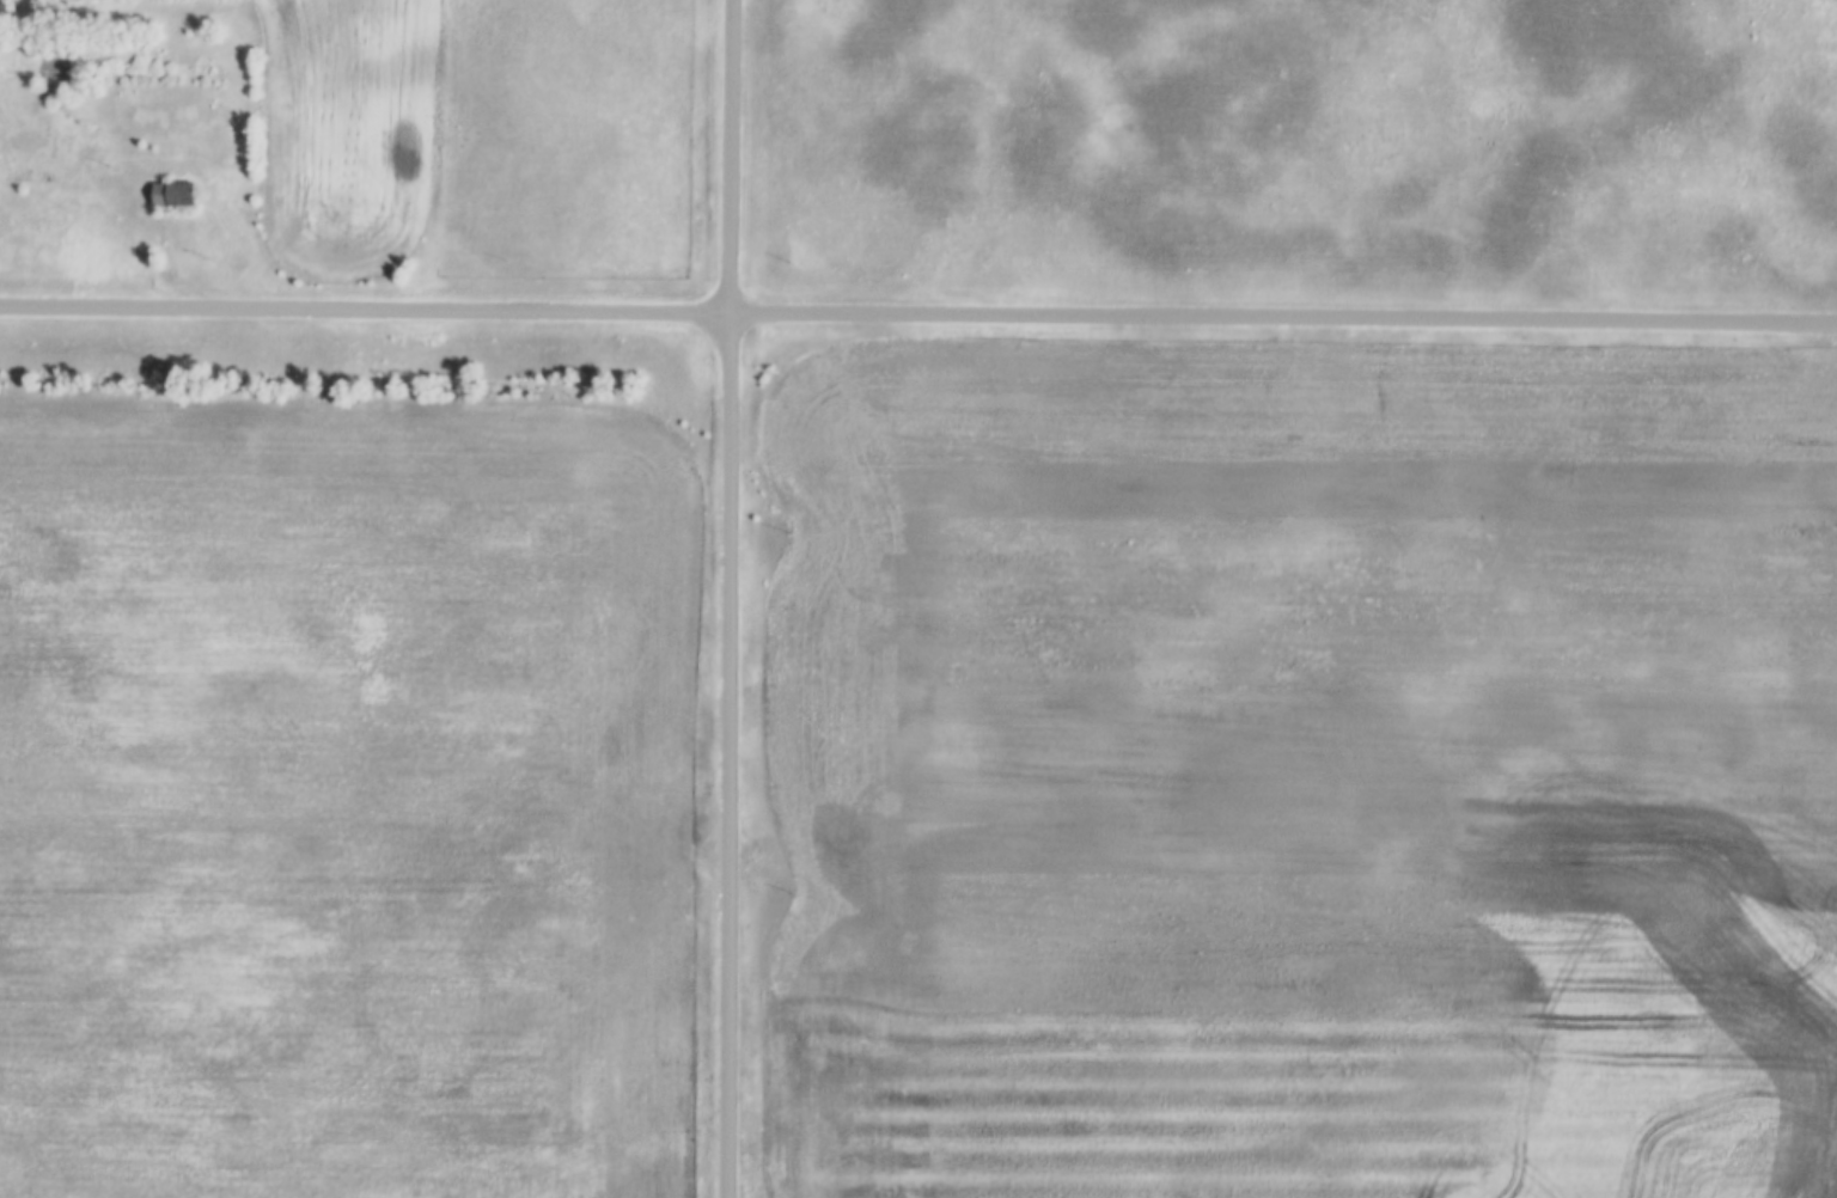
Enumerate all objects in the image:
building: (175, 195)
road: (918, 311)
road: (728, 598)

